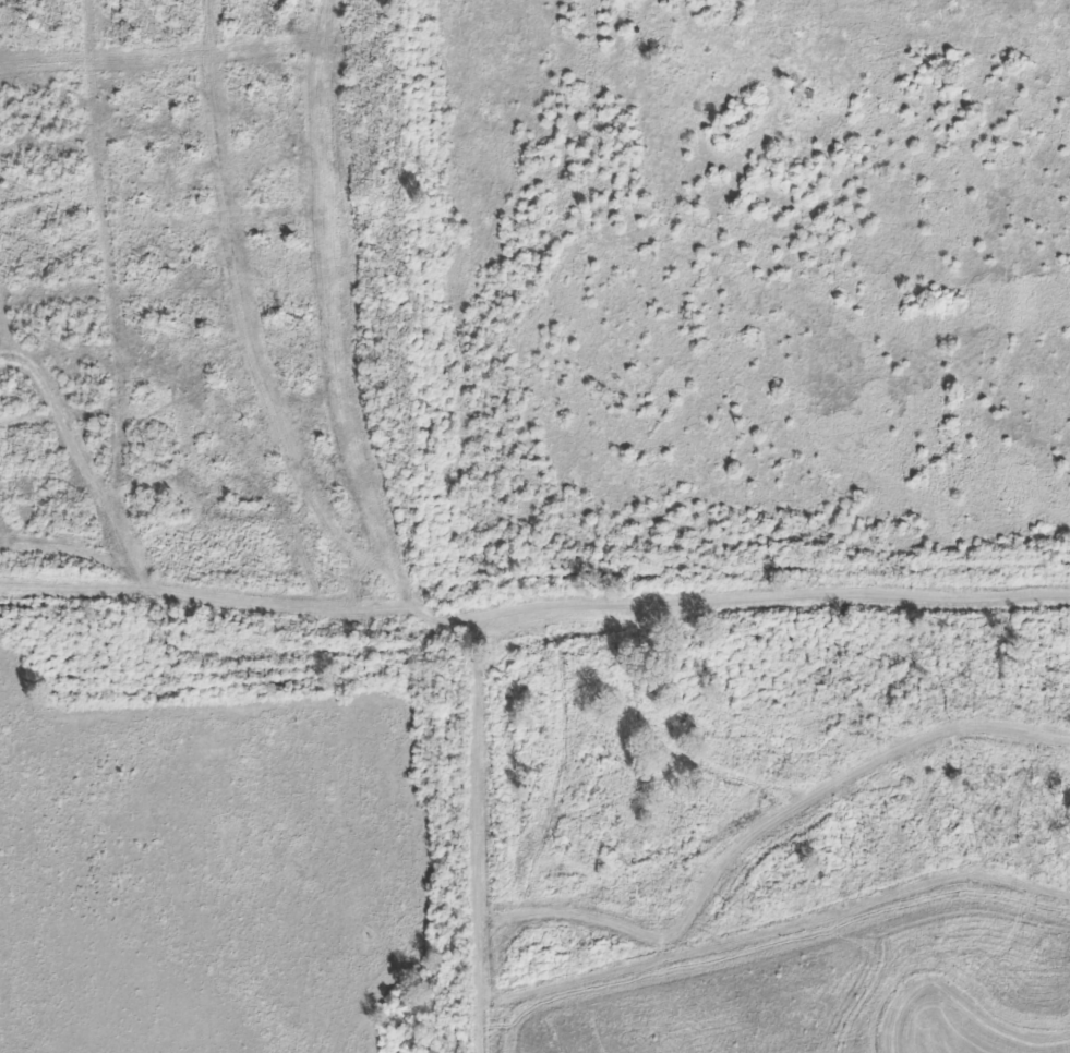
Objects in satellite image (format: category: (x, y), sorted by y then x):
road: (730, 863)

